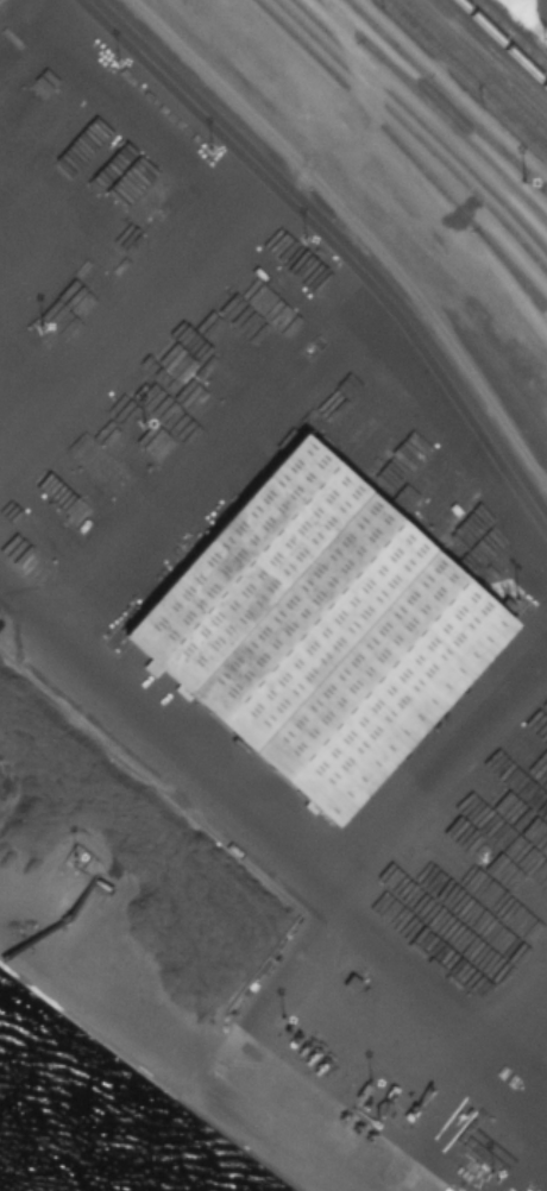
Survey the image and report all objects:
wastewater plant: (539, 10)
railway: (511, 32)
railway: (503, 42)
railway: (495, 49)
railway: (484, 59)
railway: (477, 65)
railway: (467, 75)
railway: (458, 84)
railway: (446, 96)
railway: (434, 111)
railway: (423, 125)
railway: (414, 133)
railway: (403, 153)
railway: (359, 227)
road: (337, 238)
railway: (532, 290)
road: (134, 295)
building: (320, 630)
pier: (51, 957)
pier: (230, 1094)

